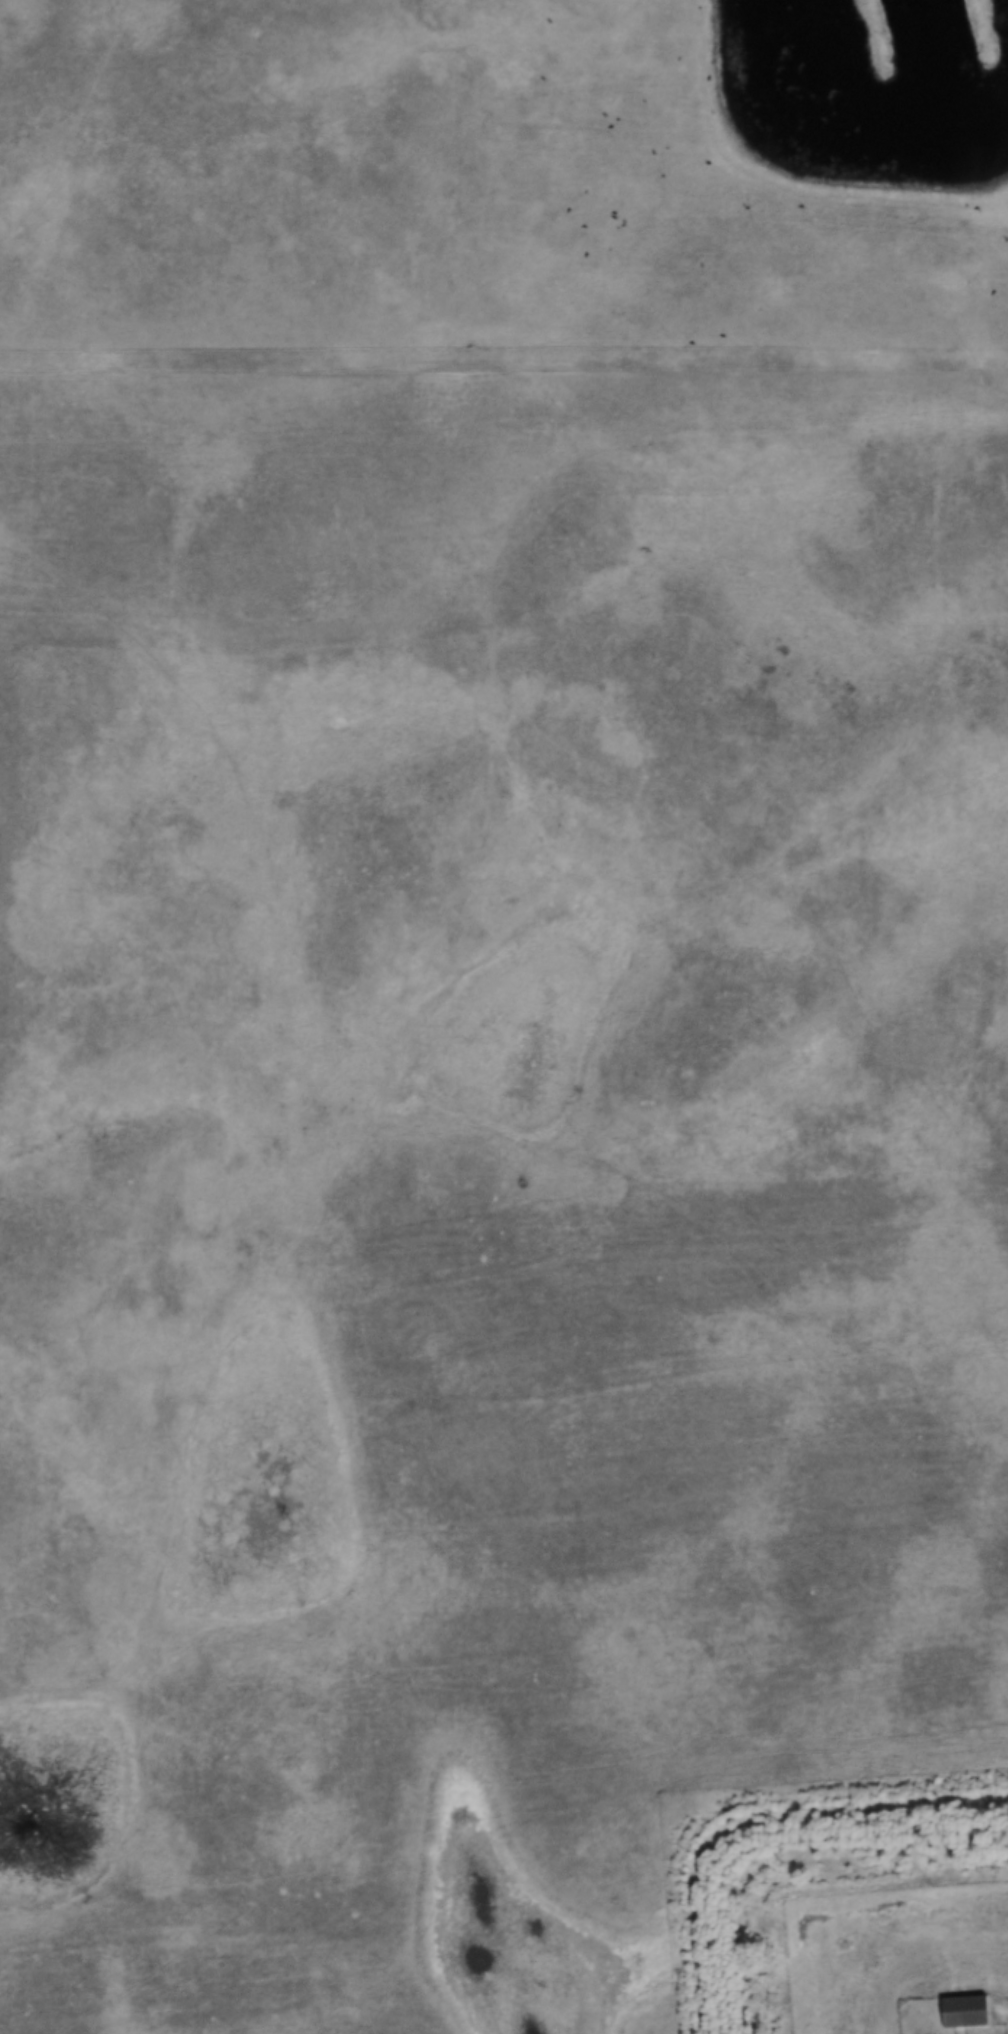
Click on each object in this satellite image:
building: (962, 2012)

